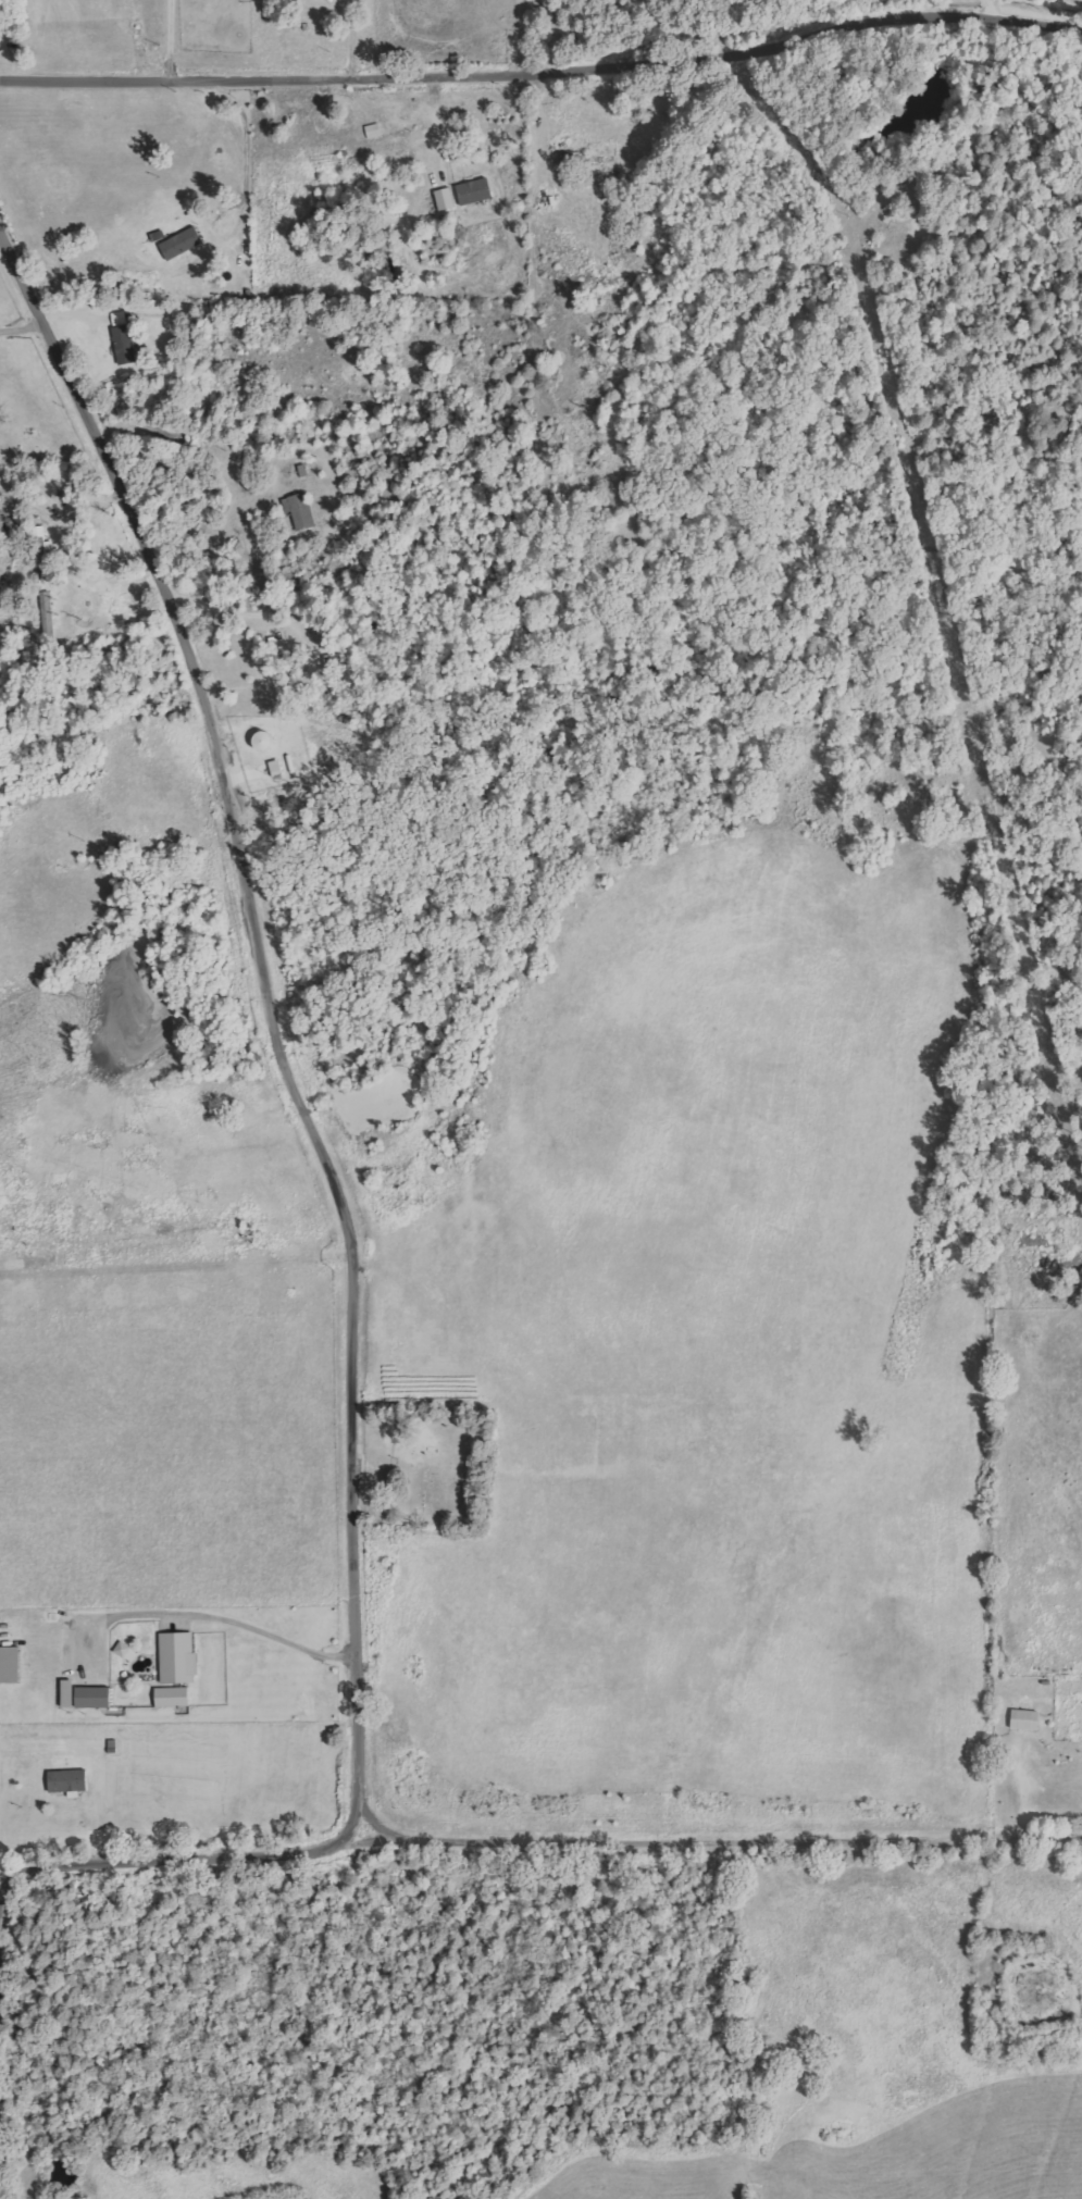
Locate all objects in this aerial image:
road: (544, 73)
building: (590, 182)
building: (476, 190)
building: (447, 198)
building: (183, 244)
building: (121, 318)
building: (126, 345)
building: (302, 511)
road: (272, 1017)
park: (431, 1475)
building: (181, 1657)
building: (12, 1664)
building: (87, 1695)
building: (175, 1697)
building: (1028, 1719)
building: (70, 1780)
road: (714, 1841)
road: (172, 1860)

